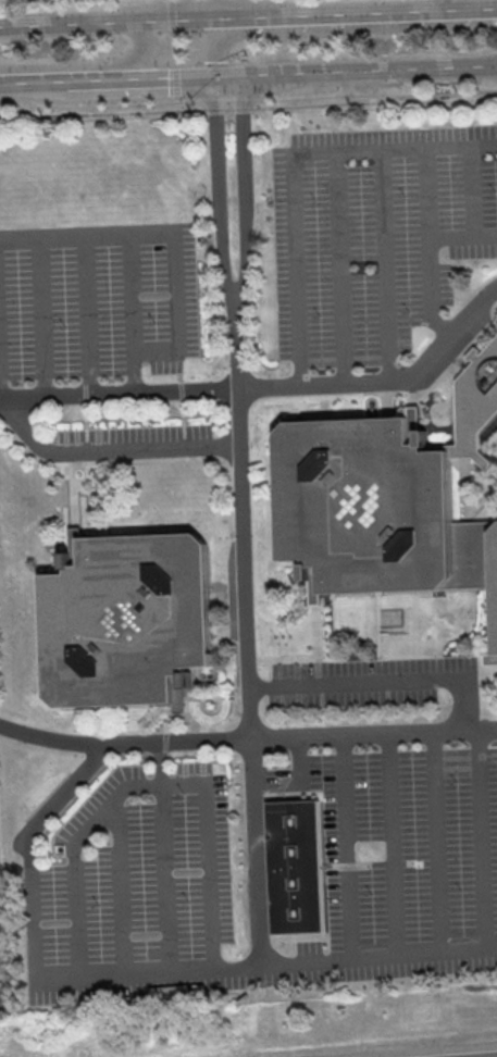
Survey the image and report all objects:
road: (440, 4)
road: (197, 8)
road: (369, 12)
road: (121, 20)
traffic signals: (135, 20)
road: (215, 40)
road: (144, 52)
road: (355, 72)
traffic signals: (213, 78)
road: (171, 79)
road: (105, 82)
road: (41, 83)
road: (248, 109)
road: (287, 164)
road: (470, 189)
road: (244, 197)
road: (216, 199)
parking lot: (373, 234)
road: (460, 234)
road: (425, 245)
road: (172, 246)
road: (382, 265)
road: (336, 268)
road: (127, 293)
parking lot: (97, 298)
road: (84, 312)
road: (39, 314)
road: (269, 385)
building: (476, 403)
parking lot: (133, 440)
road: (108, 449)
building: (375, 512)
road: (243, 528)
building: (128, 623)
road: (376, 675)
parking lot: (352, 684)
road: (247, 739)
road: (151, 783)
road: (481, 840)
road: (436, 843)
road: (392, 845)
road: (346, 848)
road: (24, 850)
road: (306, 850)
road: (256, 853)
building: (294, 866)
parking lot: (266, 875)
road: (163, 878)
road: (117, 887)
road: (264, 966)

